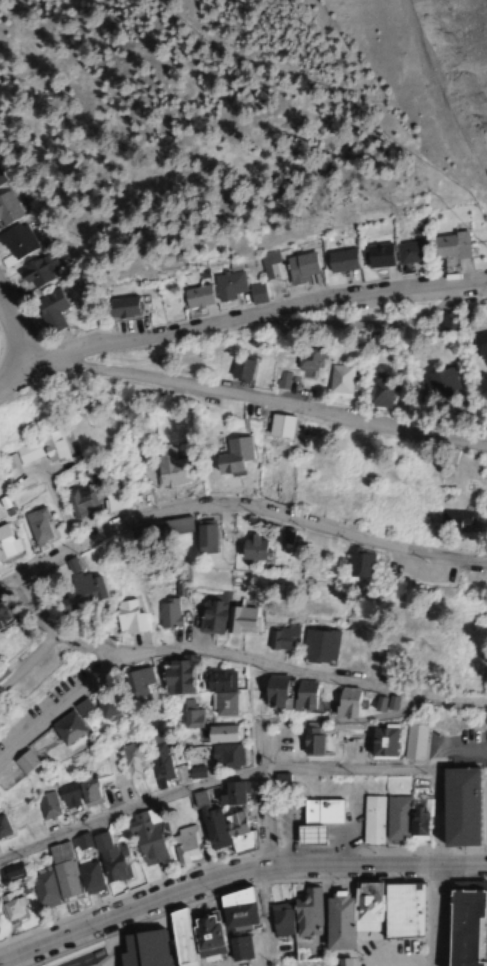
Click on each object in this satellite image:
quarry: (460, 47)
building: (0, 180)
building: (7, 209)
building: (16, 241)
building: (422, 250)
building: (388, 255)
building: (359, 258)
building: (326, 263)
building: (290, 269)
building: (35, 271)
road: (482, 281)
building: (225, 284)
building: (193, 297)
building: (48, 305)
building: (119, 308)
road: (235, 319)
building: (425, 327)
road: (10, 340)
building: (463, 347)
road: (21, 368)
building: (238, 370)
building: (279, 380)
building: (333, 381)
building: (424, 386)
building: (371, 392)
road: (277, 399)
building: (477, 425)
building: (277, 426)
building: (40, 448)
building: (231, 457)
building: (166, 466)
building: (114, 500)
building: (79, 501)
road: (237, 510)
building: (450, 522)
building: (36, 527)
building: (158, 530)
building: (202, 538)
building: (6, 543)
building: (249, 549)
building: (357, 566)
building: (79, 593)
building: (168, 614)
building: (126, 618)
building: (226, 619)
building: (2, 620)
road: (54, 627)
building: (279, 639)
building: (317, 647)
road: (225, 654)
road: (28, 660)
building: (467, 668)
building: (1, 672)
building: (174, 677)
building: (136, 682)
building: (219, 693)
building: (272, 693)
building: (301, 697)
building: (344, 704)
building: (79, 709)
building: (104, 710)
building: (189, 716)
building: (64, 729)
building: (220, 734)
building: (310, 739)
building: (380, 743)
building: (412, 744)
building: (225, 756)
building: (129, 760)
building: (22, 763)
building: (159, 763)
building: (195, 772)
road: (209, 780)
building: (74, 793)
building: (231, 794)
road: (267, 805)
building: (44, 806)
building: (457, 808)
road: (433, 815)
building: (404, 819)
building: (371, 820)
building: (316, 821)
building: (220, 827)
building: (3, 831)
building: (144, 840)
building: (184, 845)
building: (109, 860)
building: (10, 875)
building: (87, 876)
road: (236, 879)
building: (62, 881)
building: (41, 889)
building: (8, 908)
building: (234, 910)
building: (400, 911)
building: (306, 913)
road: (433, 915)
building: (348, 916)
building: (278, 917)
building: (463, 924)
building: (203, 934)
building: (177, 938)
building: (237, 949)
building: (141, 950)
building: (283, 951)
building: (343, 962)

